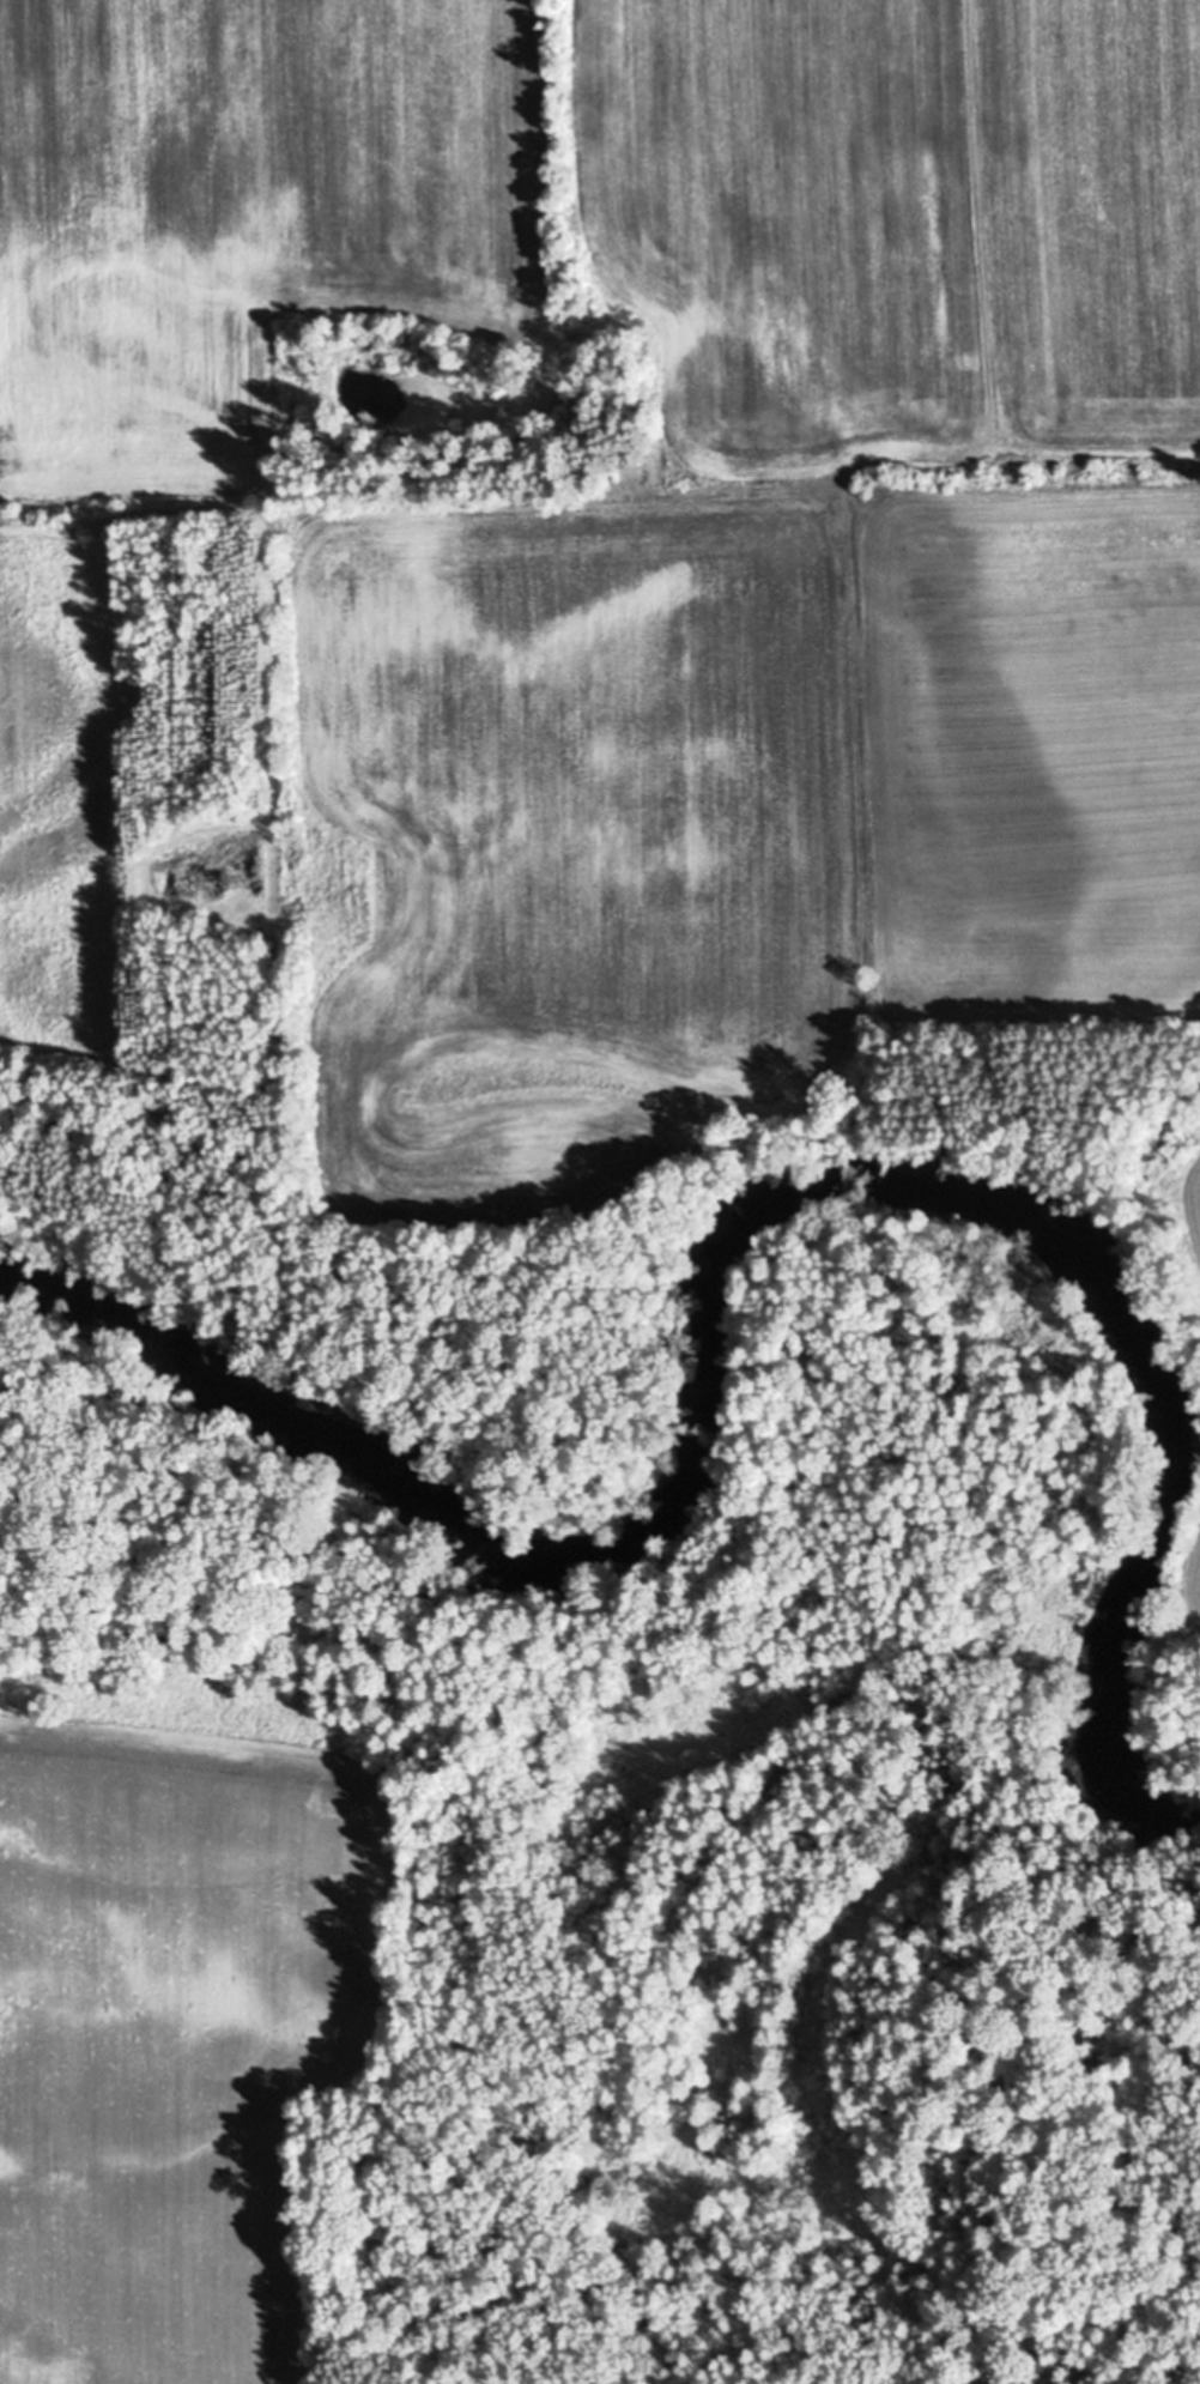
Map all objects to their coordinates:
river: (737, 1273)

